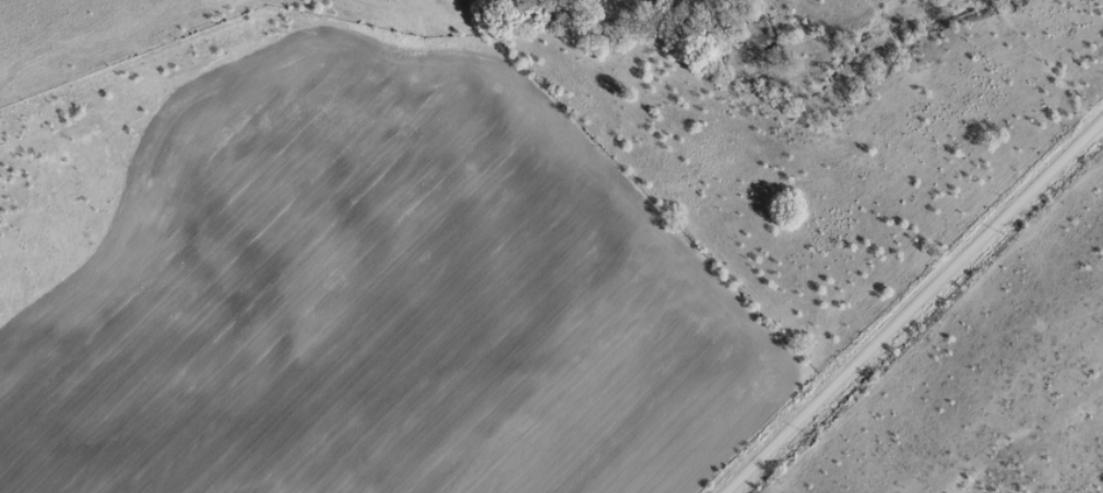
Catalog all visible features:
road: (912, 303)

